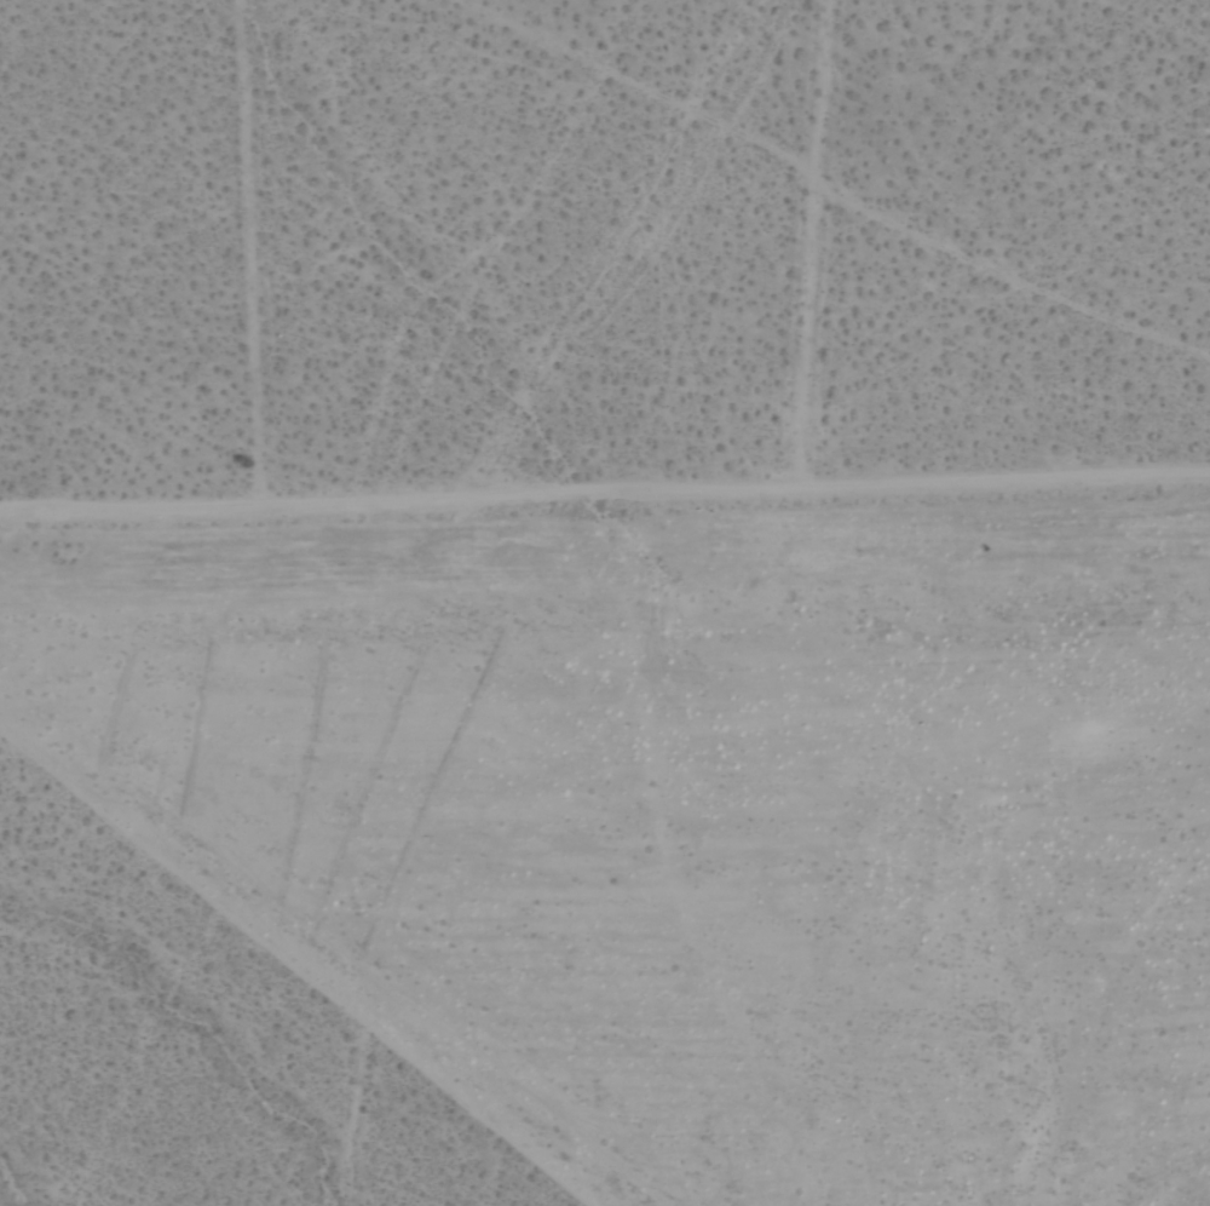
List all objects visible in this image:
road: (604, 492)

